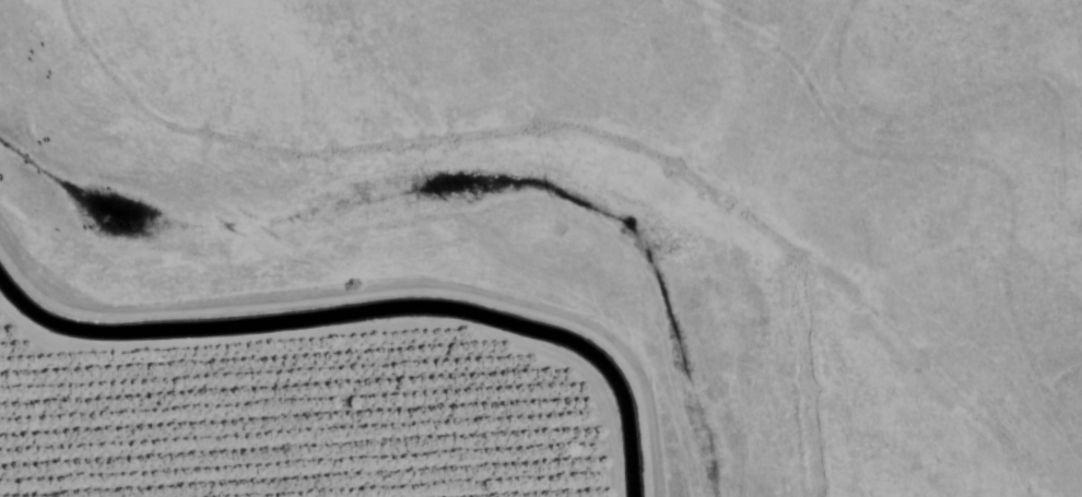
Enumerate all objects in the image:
crop: (292, 405)

